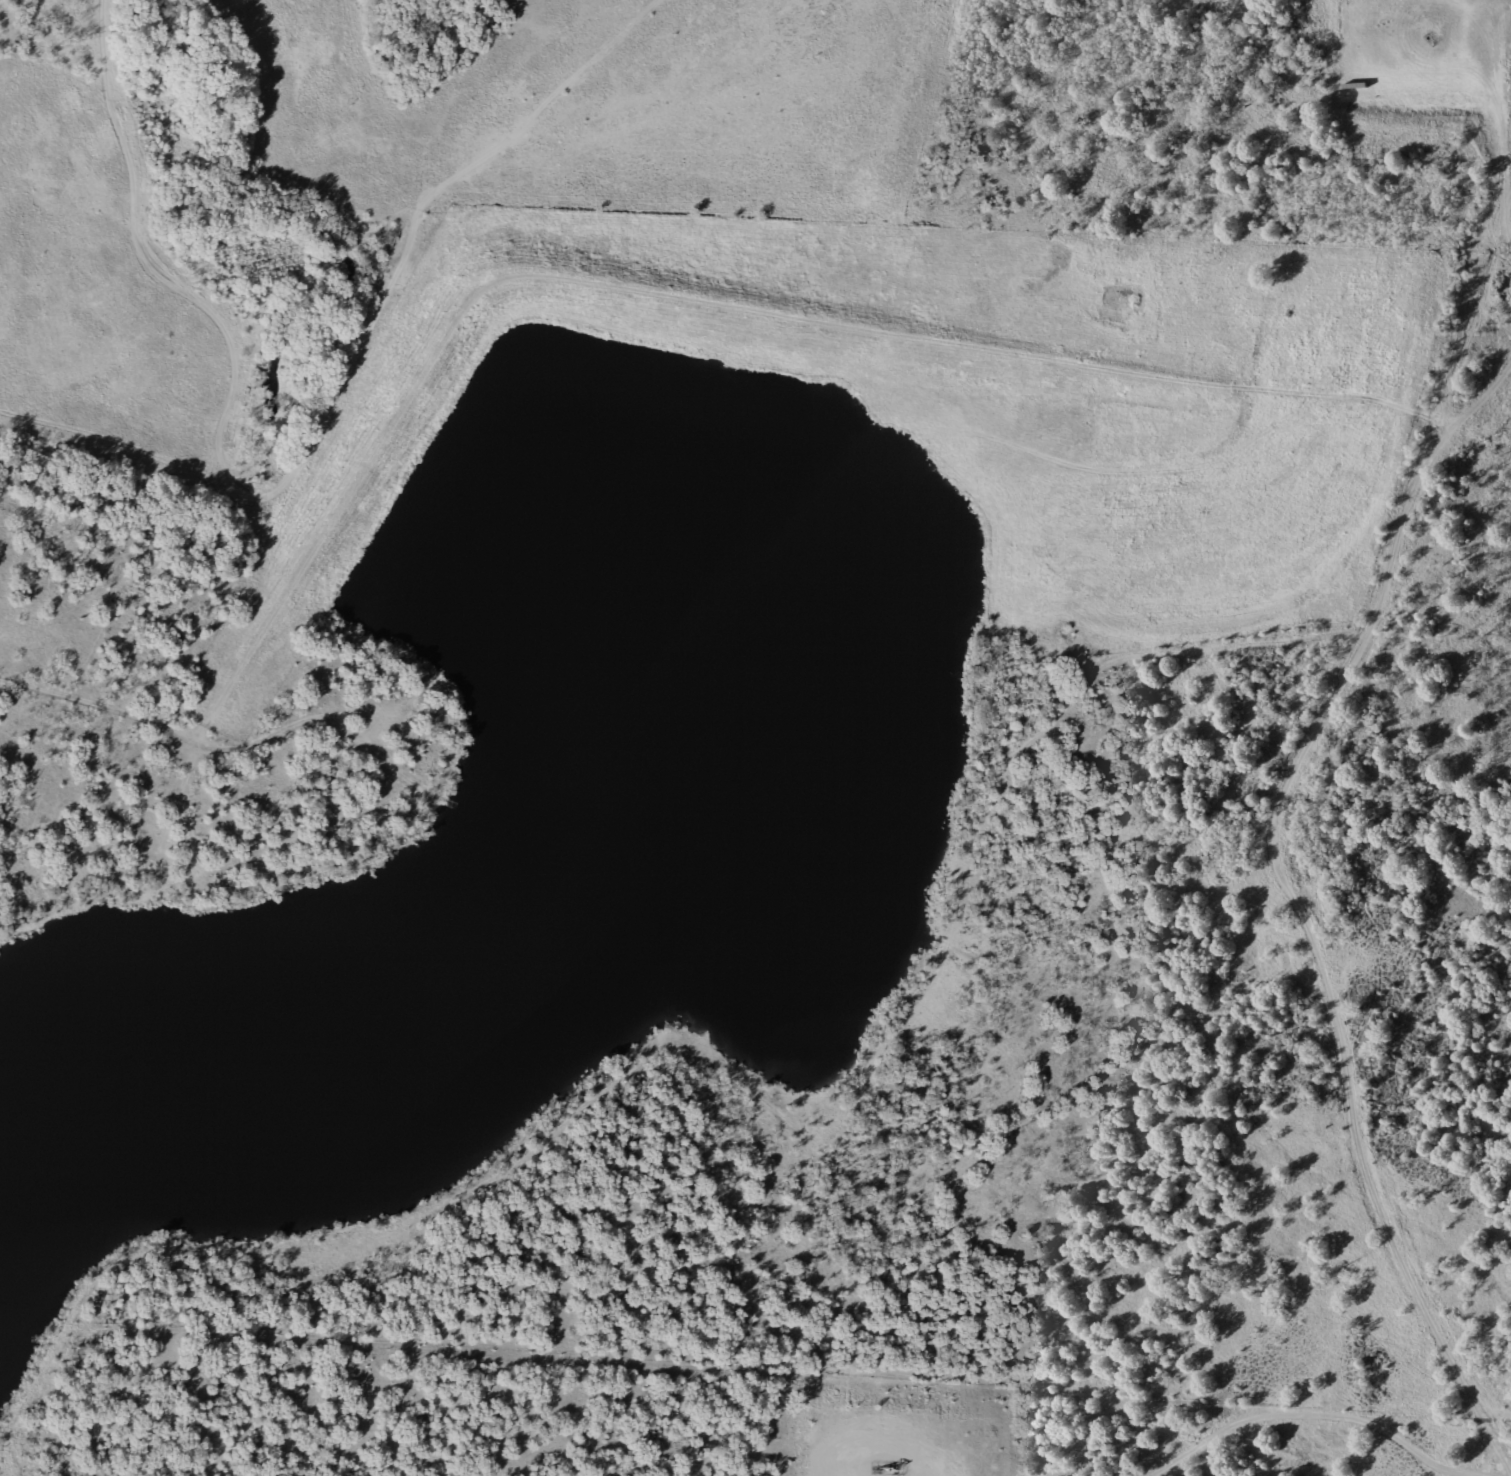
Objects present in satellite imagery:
road: (106, 895)

